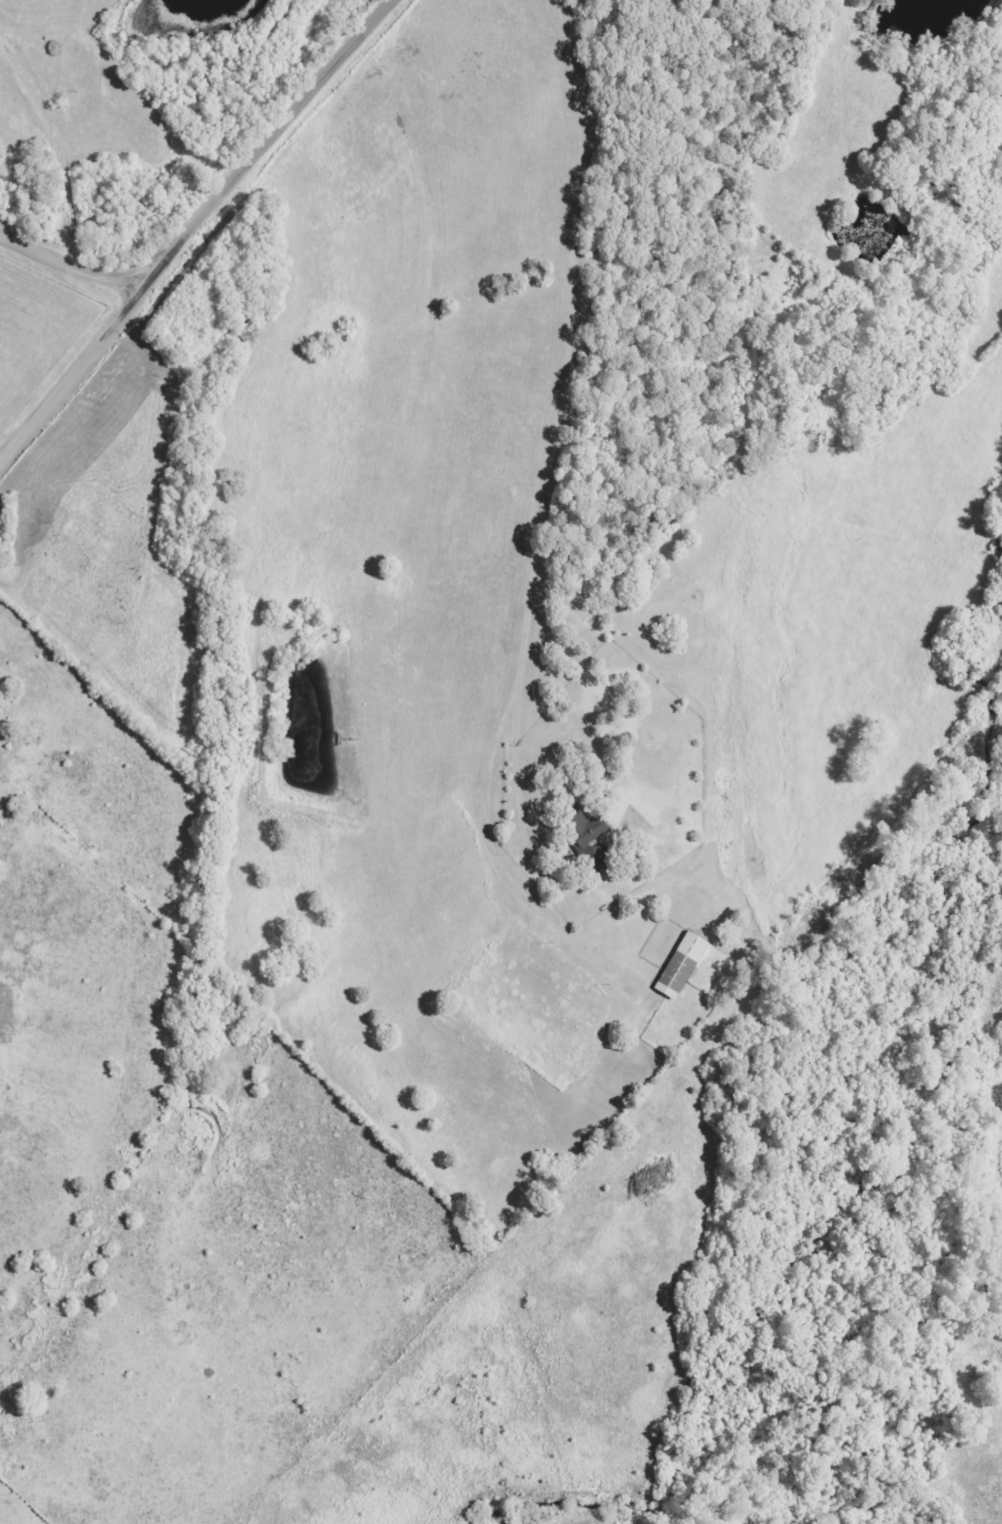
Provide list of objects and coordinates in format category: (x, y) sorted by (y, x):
road: (803, 52)
road: (59, 138)
road: (191, 227)
road: (70, 266)
road: (559, 402)
building: (591, 828)
building: (684, 965)

